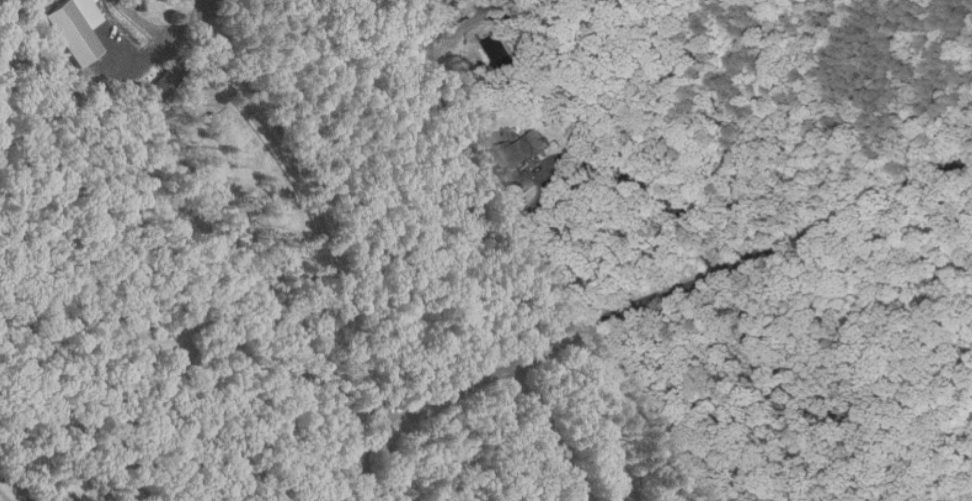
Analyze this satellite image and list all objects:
building: (140, 5)
building: (75, 28)
building: (425, 36)
building: (501, 54)
building: (165, 80)
building: (525, 157)
road: (560, 161)
road: (299, 182)
road: (668, 294)
road: (396, 465)
road: (367, 470)
road: (298, 474)

